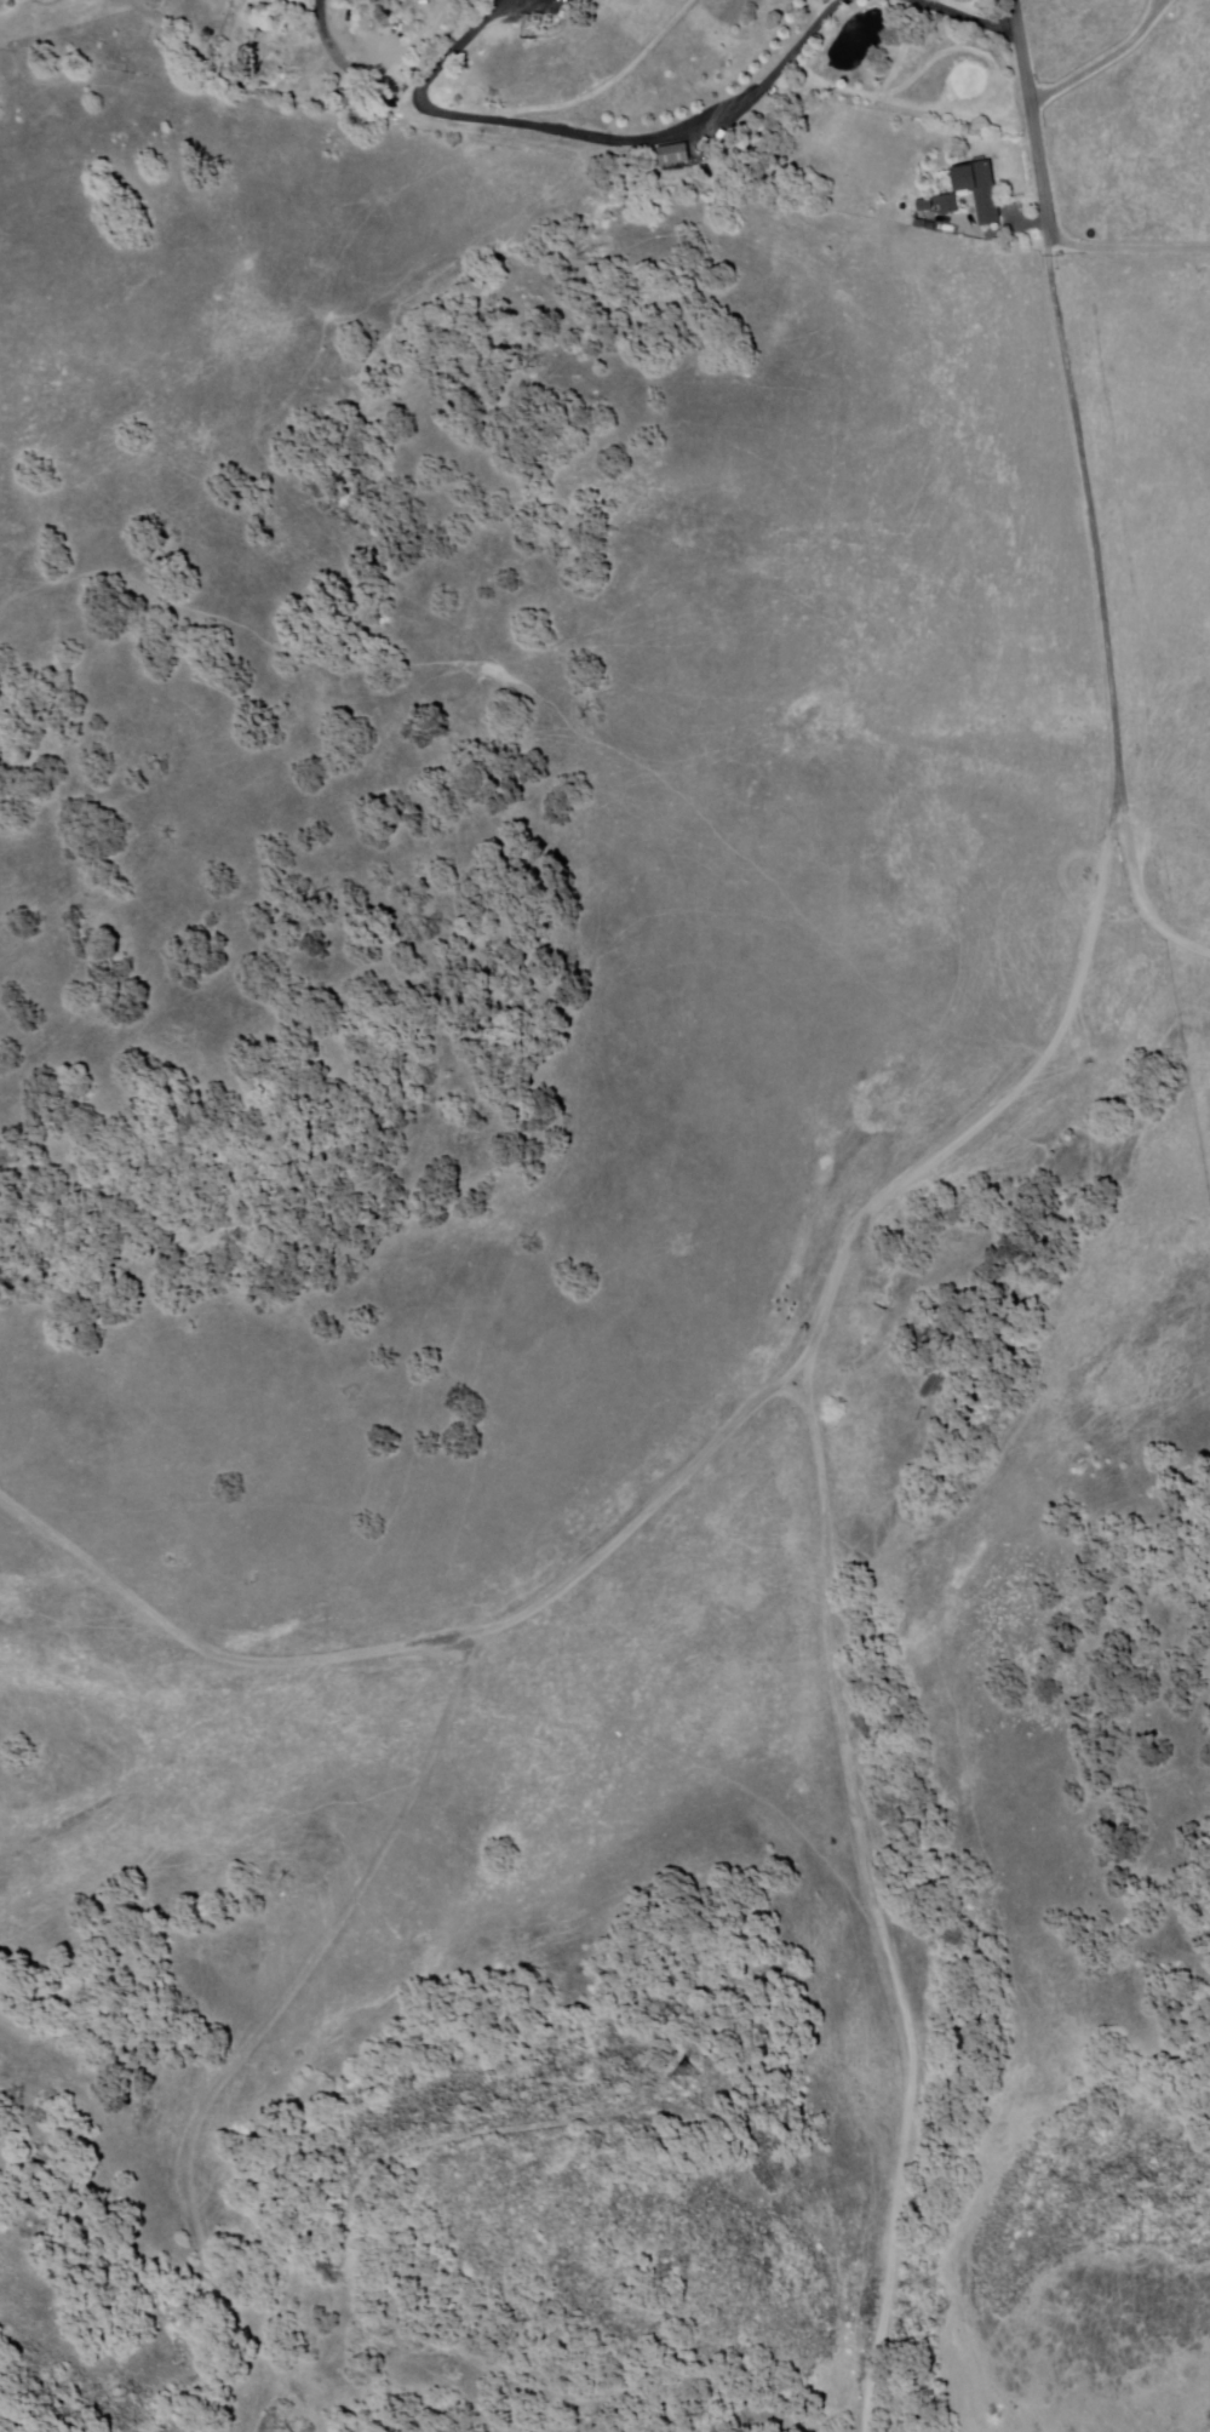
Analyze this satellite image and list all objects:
road: (968, 18)
building: (390, 24)
road: (327, 42)
road: (460, 47)
building: (233, 76)
building: (345, 95)
building: (356, 102)
road: (655, 138)
building: (673, 153)
building: (977, 190)
building: (947, 206)
building: (924, 207)
building: (904, 208)
building: (923, 227)
road: (1124, 248)
road: (1139, 894)
road: (894, 1191)
road: (428, 1644)
road: (259, 2036)
power tower: (676, 2072)
road: (12, 2424)

